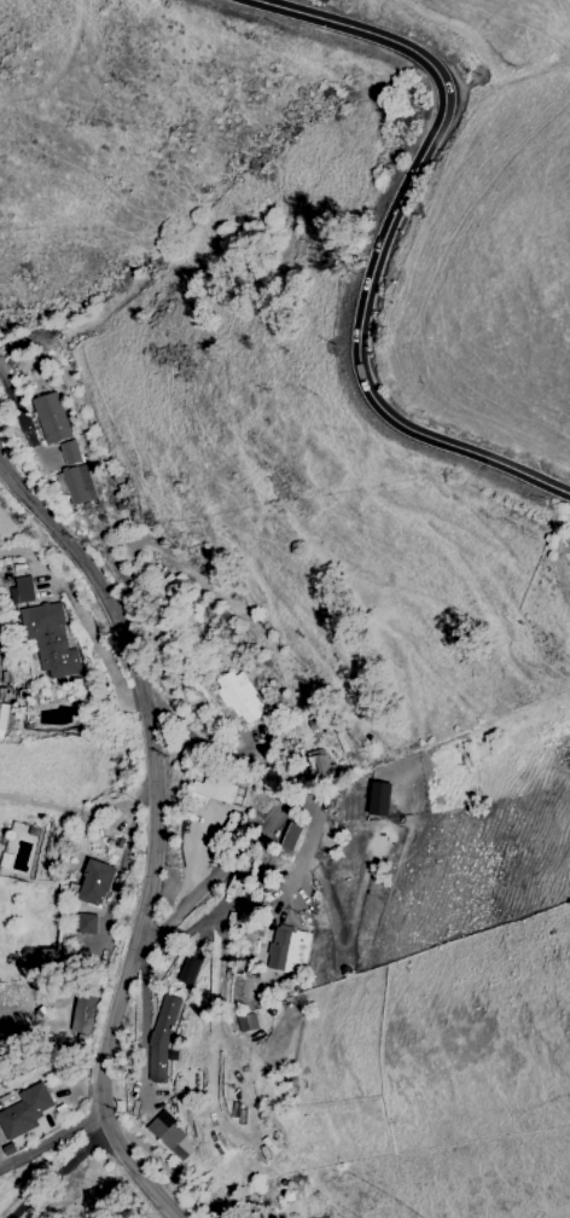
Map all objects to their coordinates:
road: (382, 239)
building: (51, 418)
building: (72, 475)
building: (22, 590)
road: (86, 616)
building: (48, 637)
building: (239, 696)
building: (5, 718)
building: (316, 762)
building: (215, 794)
road: (80, 813)
road: (258, 830)
road: (153, 834)
building: (291, 836)
building: (95, 883)
building: (86, 923)
building: (286, 950)
building: (187, 970)
building: (82, 1014)
building: (246, 1022)
building: (162, 1038)
building: (24, 1110)
building: (170, 1138)
road: (53, 1142)
road: (58, 1167)
road: (173, 1174)

